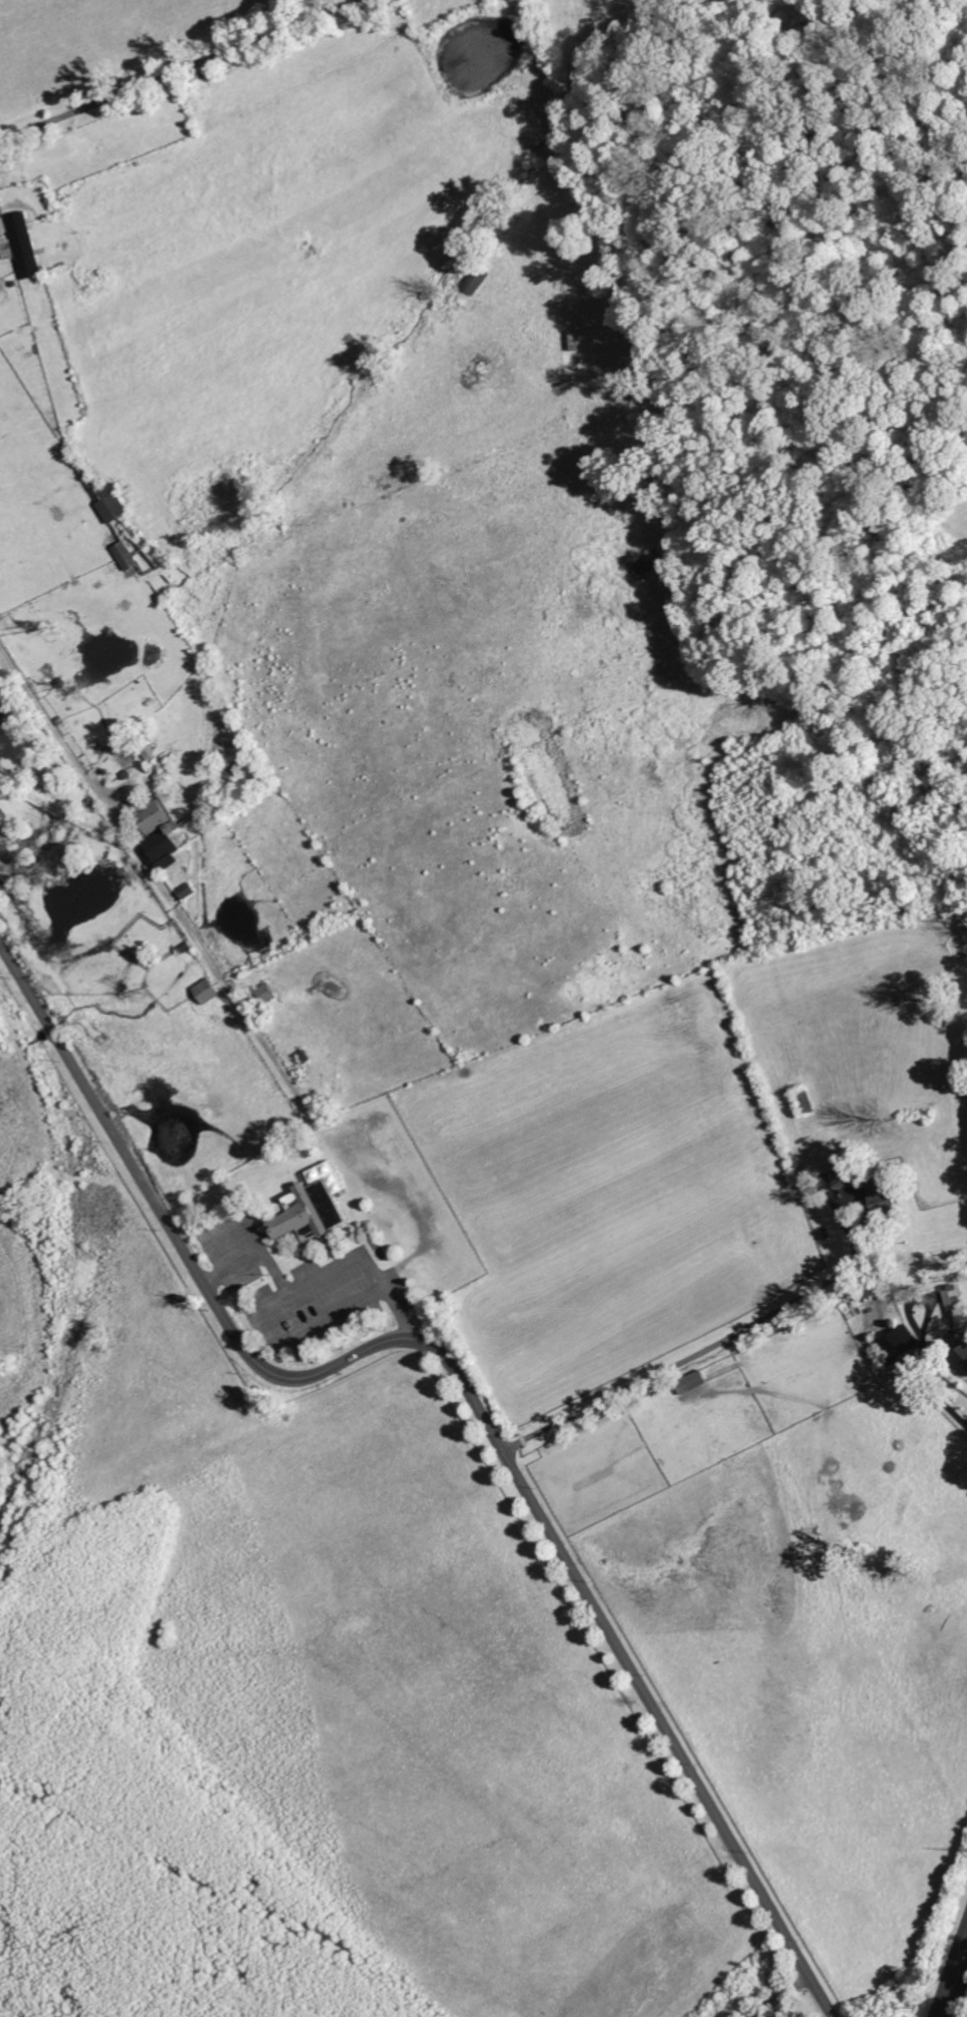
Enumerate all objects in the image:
road: (177, 70)
building: (2, 226)
building: (23, 246)
building: (6, 250)
building: (12, 264)
building: (476, 281)
building: (574, 341)
building: (112, 505)
building: (126, 557)
building: (649, 563)
building: (26, 671)
building: (60, 683)
building: (779, 687)
building: (61, 721)
building: (14, 748)
building: (147, 751)
building: (129, 752)
building: (103, 775)
building: (124, 776)
building: (161, 776)
building: (171, 781)
building: (148, 782)
building: (177, 788)
building: (158, 834)
building: (12, 866)
building: (187, 891)
building: (207, 991)
building: (266, 993)
building: (305, 1056)
building: (327, 1102)
building: (804, 1102)
building: (836, 1180)
building: (880, 1199)
building: (311, 1212)
road: (317, 1277)
road: (876, 1288)
road: (919, 1298)
building: (952, 1299)
road: (306, 1334)
building: (900, 1344)
building: (962, 1357)
road: (687, 1360)
road: (465, 1381)
building: (694, 1382)
road: (929, 1384)
road: (956, 1986)
road: (781, 1992)

